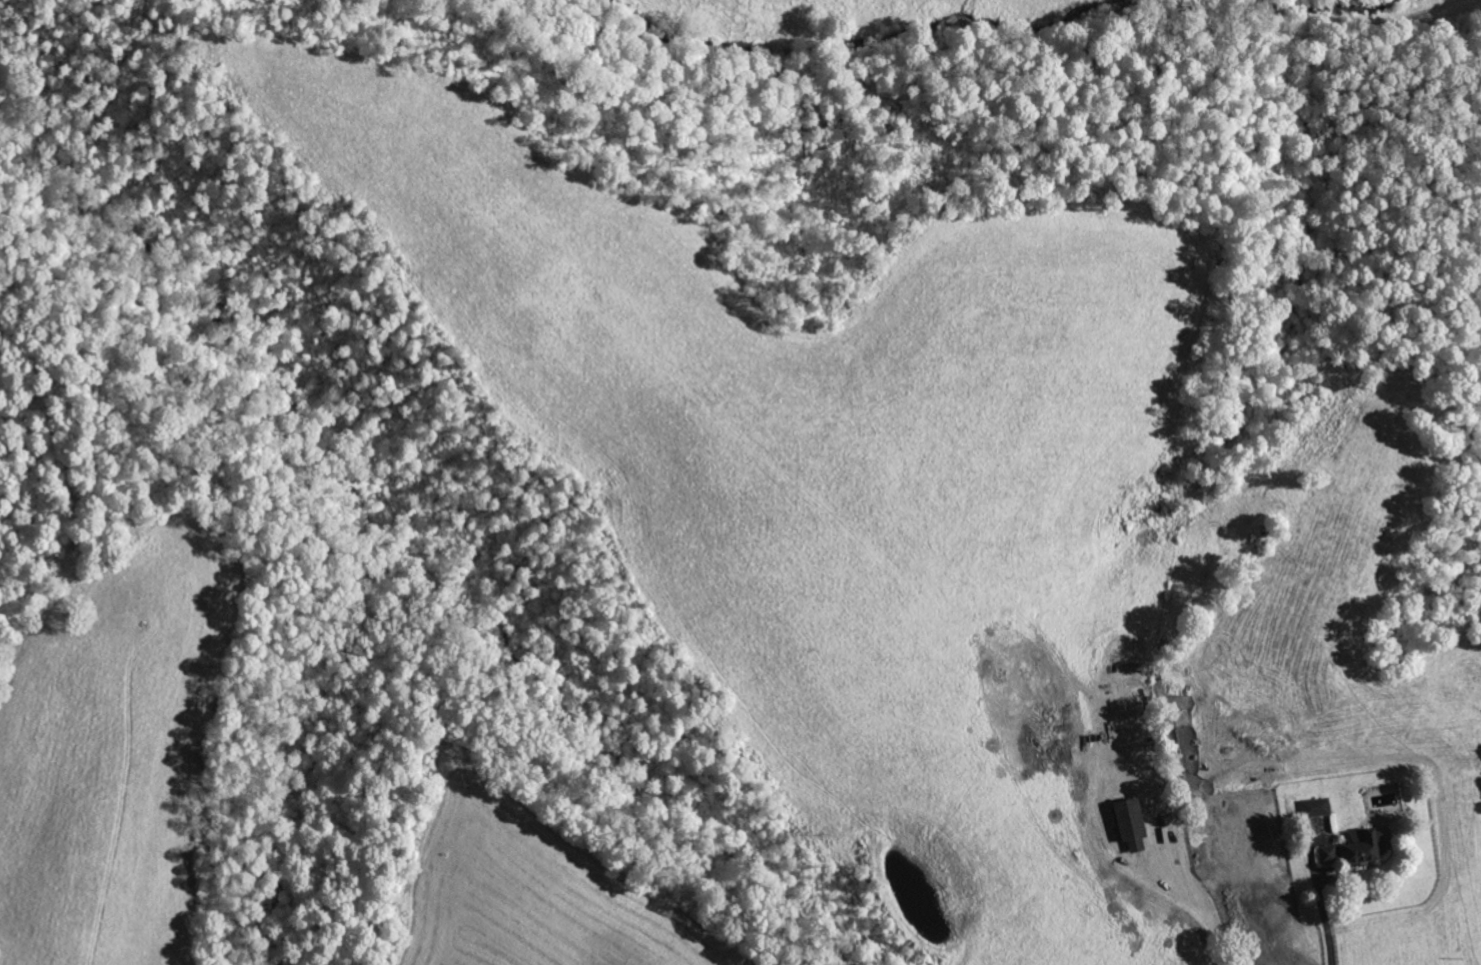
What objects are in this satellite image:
building: (1314, 808)
building: (1127, 825)
building: (1361, 847)
building: (1326, 855)

